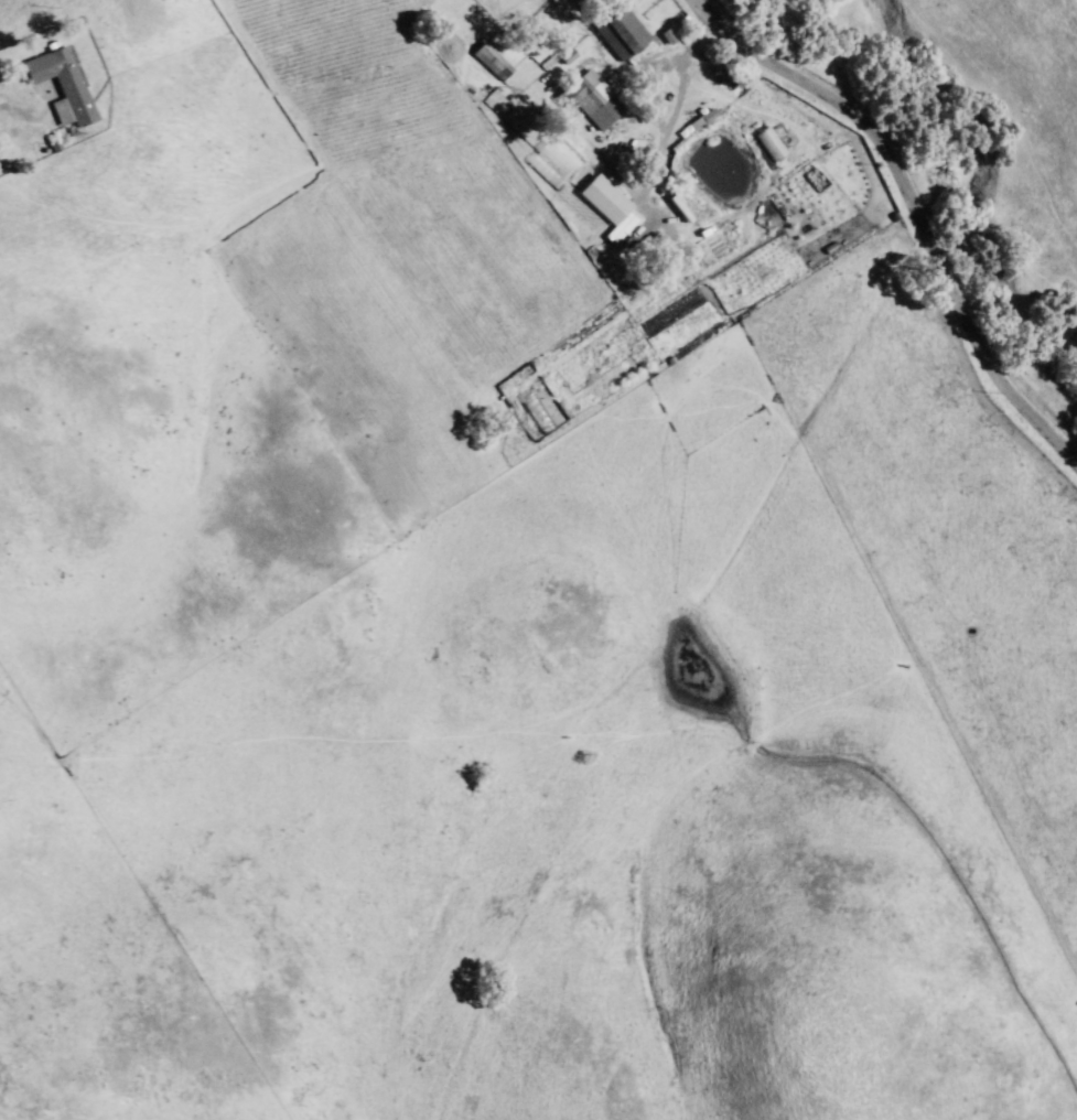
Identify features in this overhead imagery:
building: (624, 37)
building: (493, 65)
building: (66, 88)
building: (596, 103)
road: (676, 111)
road: (902, 231)

